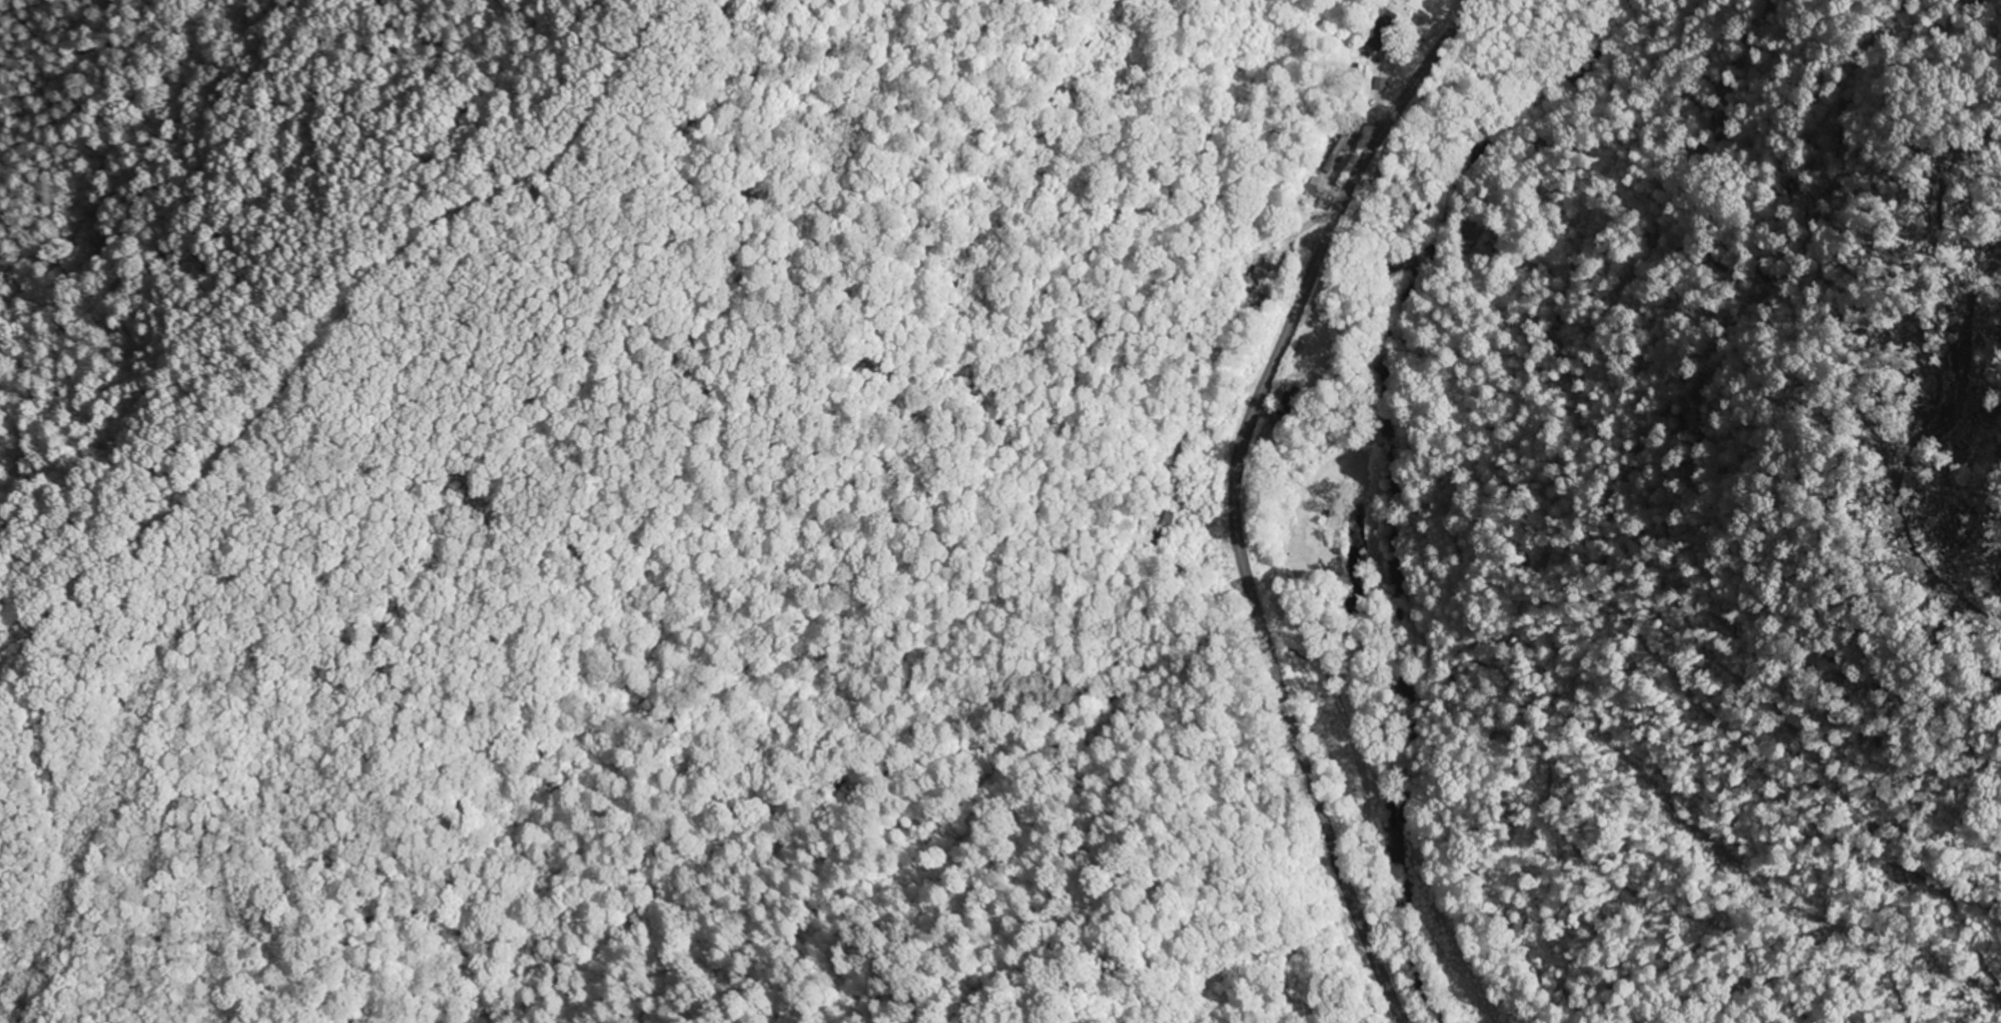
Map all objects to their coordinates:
building: (1384, 31)
building: (1264, 265)
building: (1295, 400)
road: (1304, 544)

